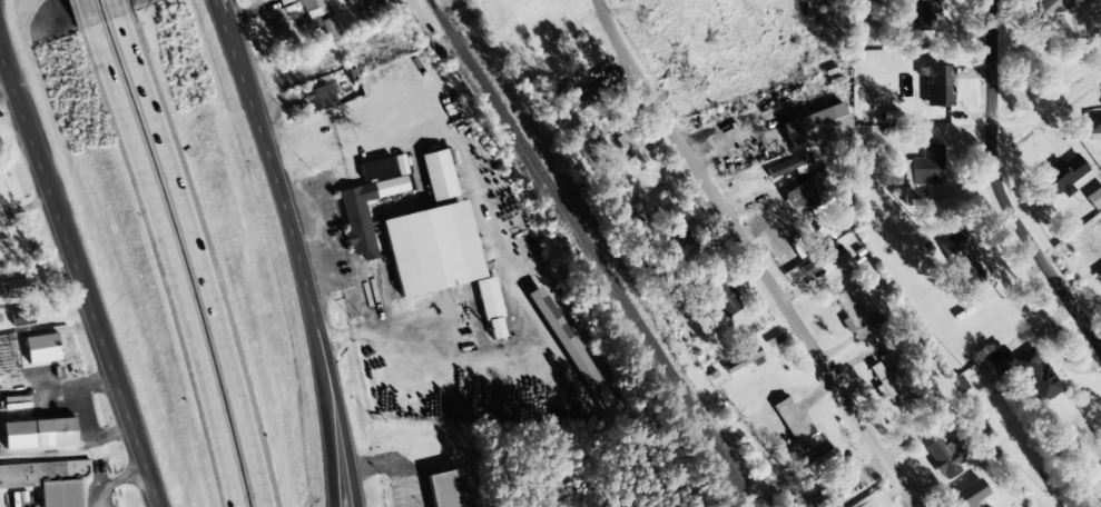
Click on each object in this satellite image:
building: (1055, 6)
road: (112, 9)
road: (85, 13)
building: (921, 14)
building: (305, 26)
building: (935, 84)
road: (1046, 89)
building: (322, 96)
road: (256, 122)
building: (1093, 122)
building: (815, 125)
building: (927, 166)
building: (376, 169)
building: (438, 175)
road: (1004, 176)
building: (1059, 177)
building: (803, 191)
building: (914, 197)
building: (1094, 197)
building: (364, 212)
building: (675, 225)
building: (4, 245)
building: (432, 248)
railway: (592, 254)
road: (757, 255)
building: (961, 256)
road: (196, 259)
building: (823, 259)
road: (169, 265)
building: (1098, 274)
road: (80, 282)
building: (14, 288)
building: (726, 298)
building: (490, 308)
building: (22, 316)
building: (851, 317)
building: (741, 359)
building: (1025, 370)
road: (321, 376)
road: (332, 376)
building: (885, 386)
building: (794, 422)
building: (56, 431)
building: (944, 457)
road: (374, 460)
building: (48, 480)
building: (446, 489)
building: (970, 493)
road: (142, 500)

